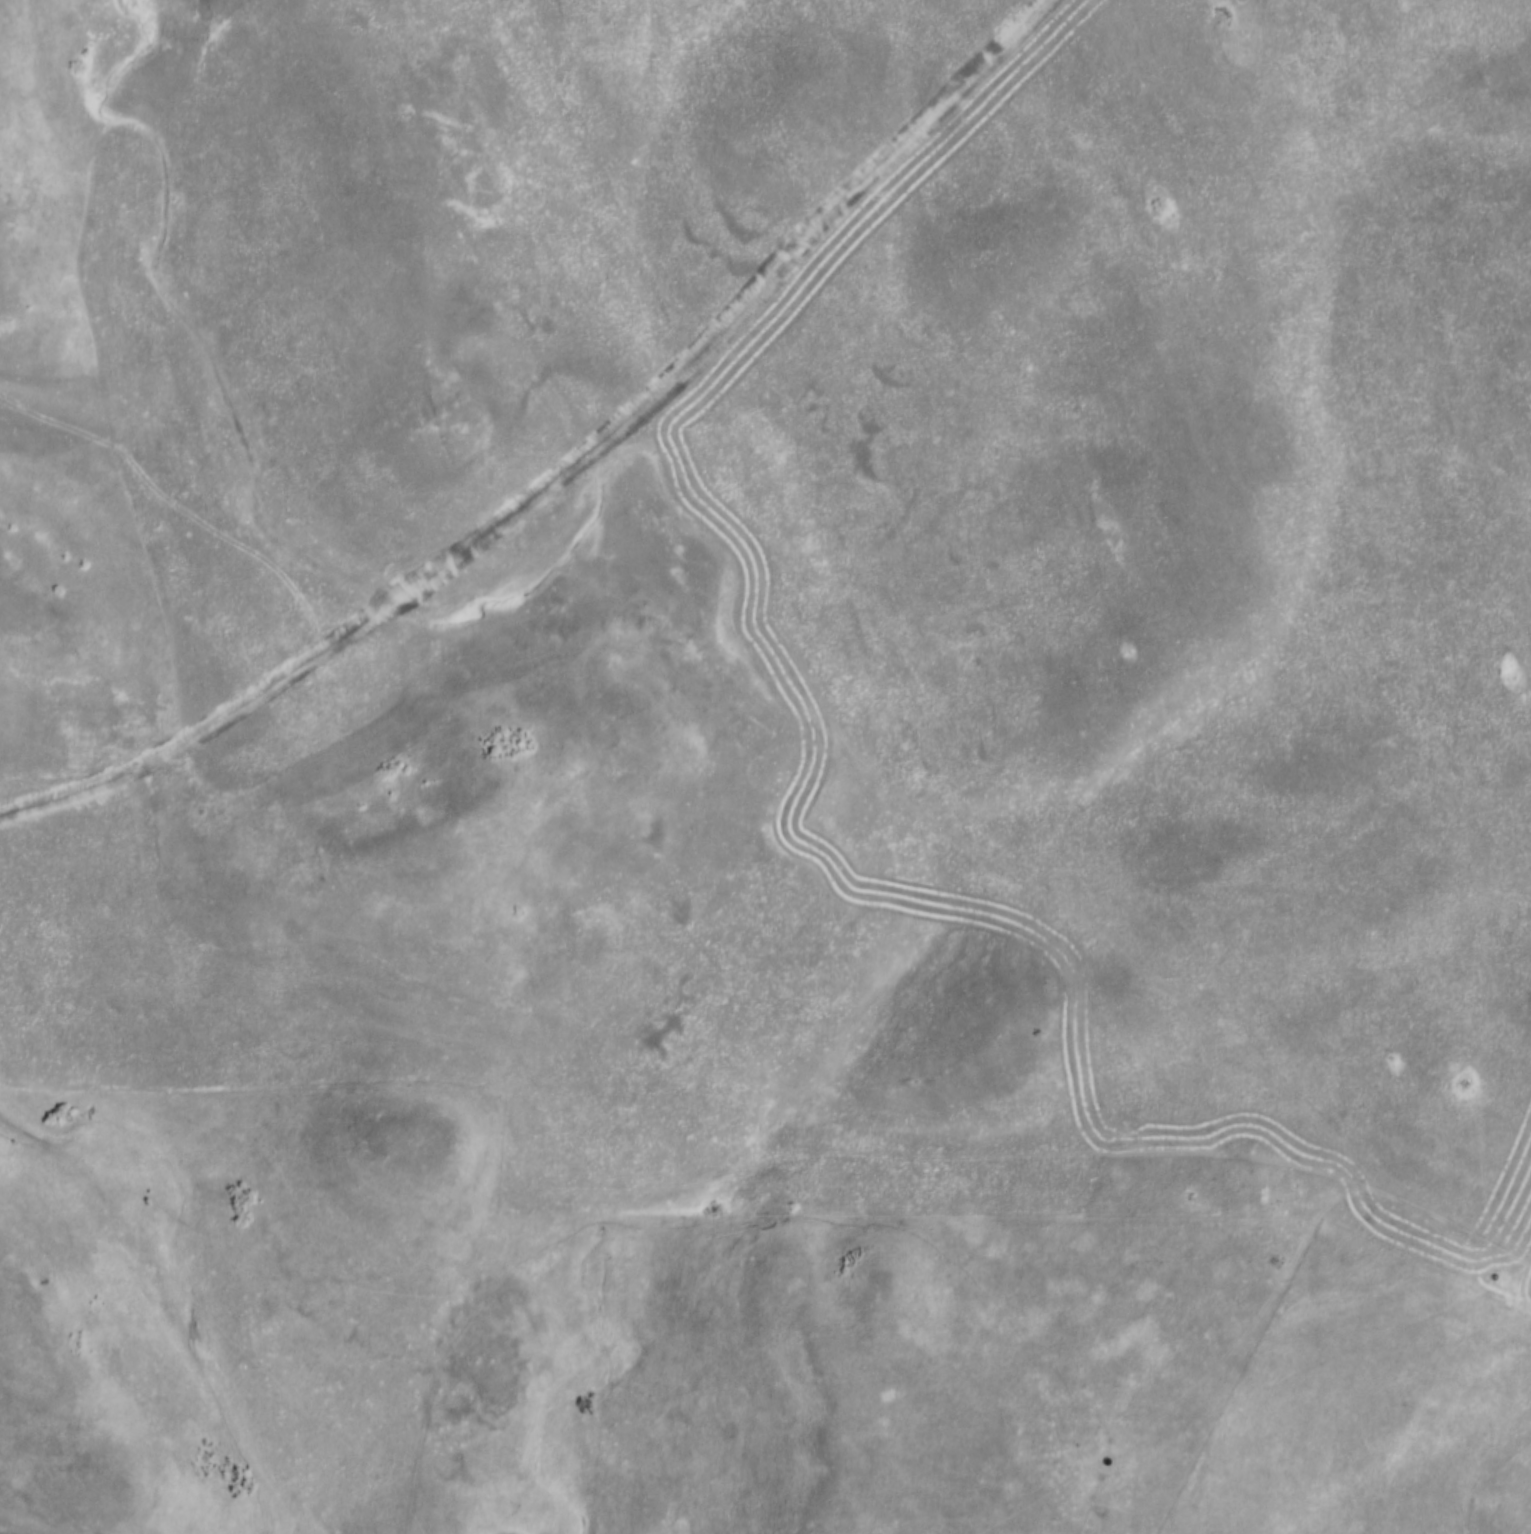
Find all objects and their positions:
road: (857, 1196)

